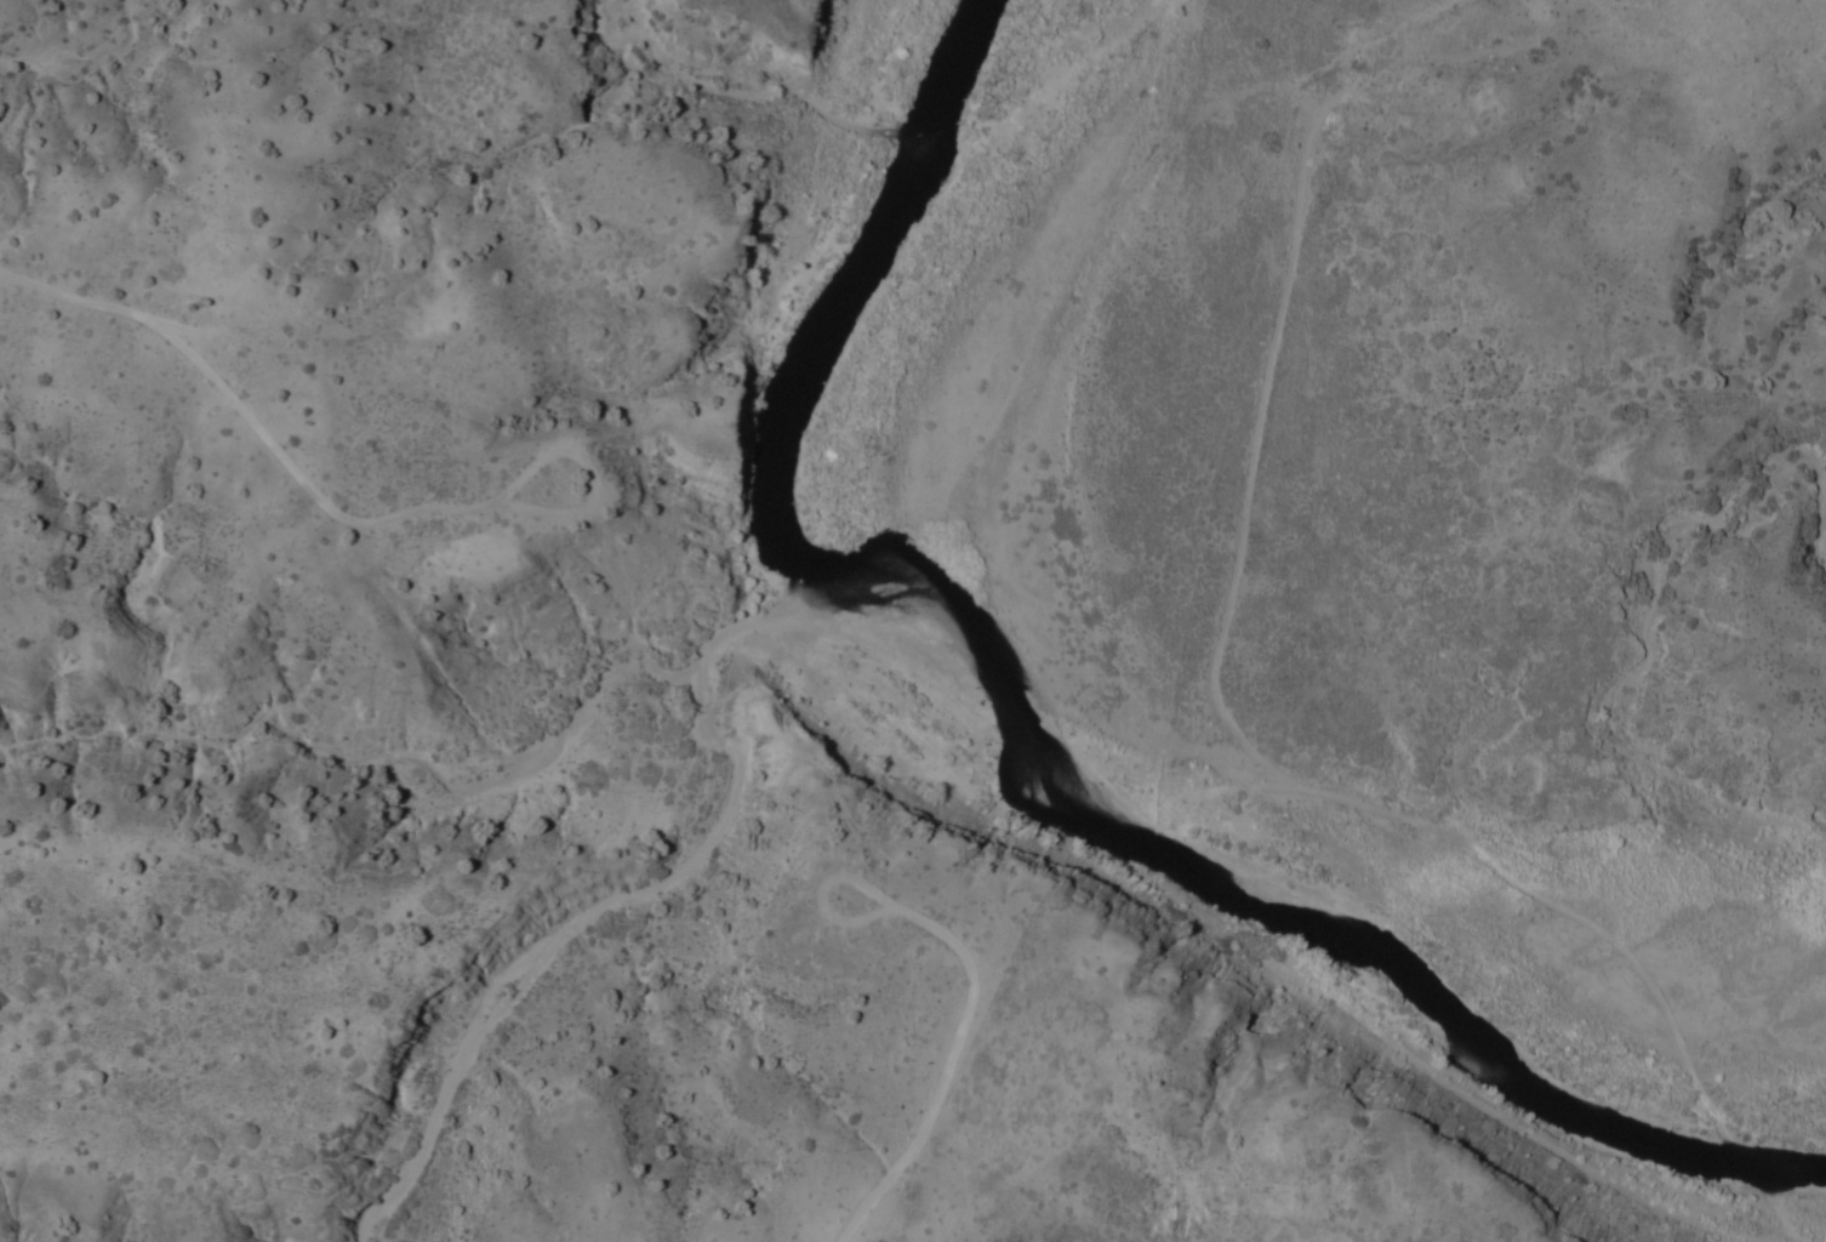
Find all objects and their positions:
river: (1025, 744)
road: (919, 1119)

